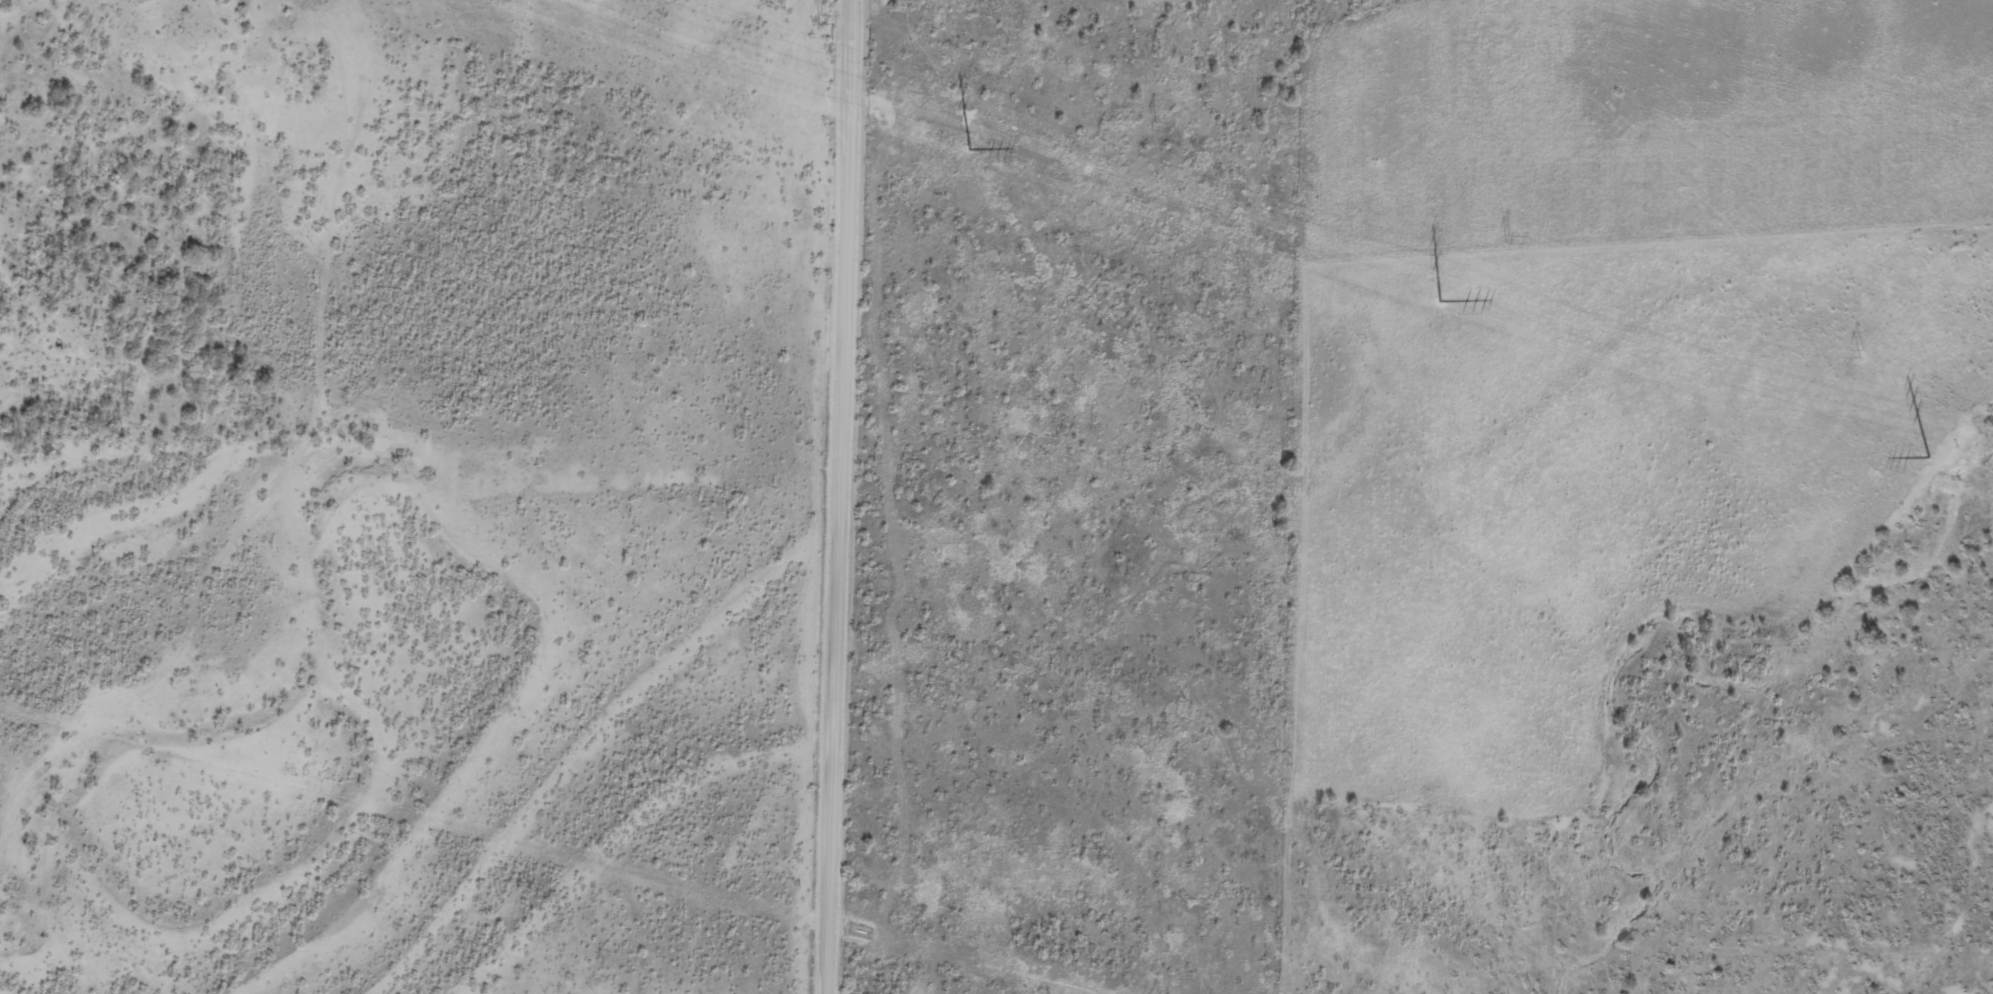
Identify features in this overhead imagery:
power tower: (820, 19)
power tower: (1152, 127)
power tower: (968, 148)
power tower: (1506, 239)
power tower: (1442, 301)
power tower: (1859, 352)
power tower: (1929, 456)
road: (843, 497)

